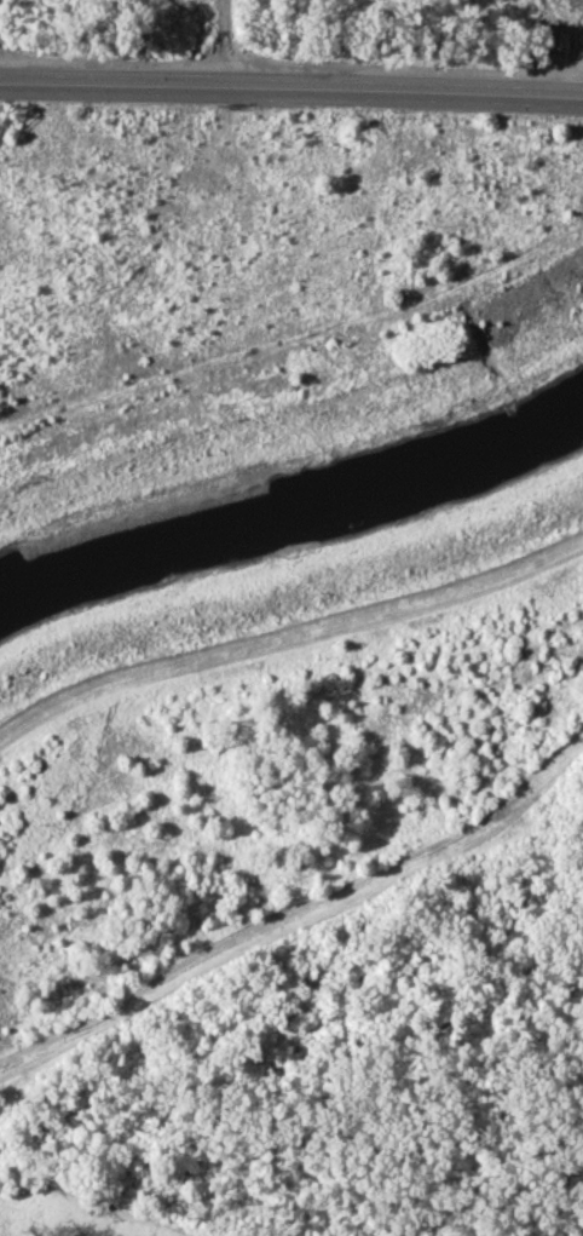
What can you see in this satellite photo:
road: (291, 92)
street lamp: (68, 107)
street lamp: (213, 108)
street lamp: (350, 109)
street lamp: (487, 114)
park: (265, 297)
river: (294, 516)

